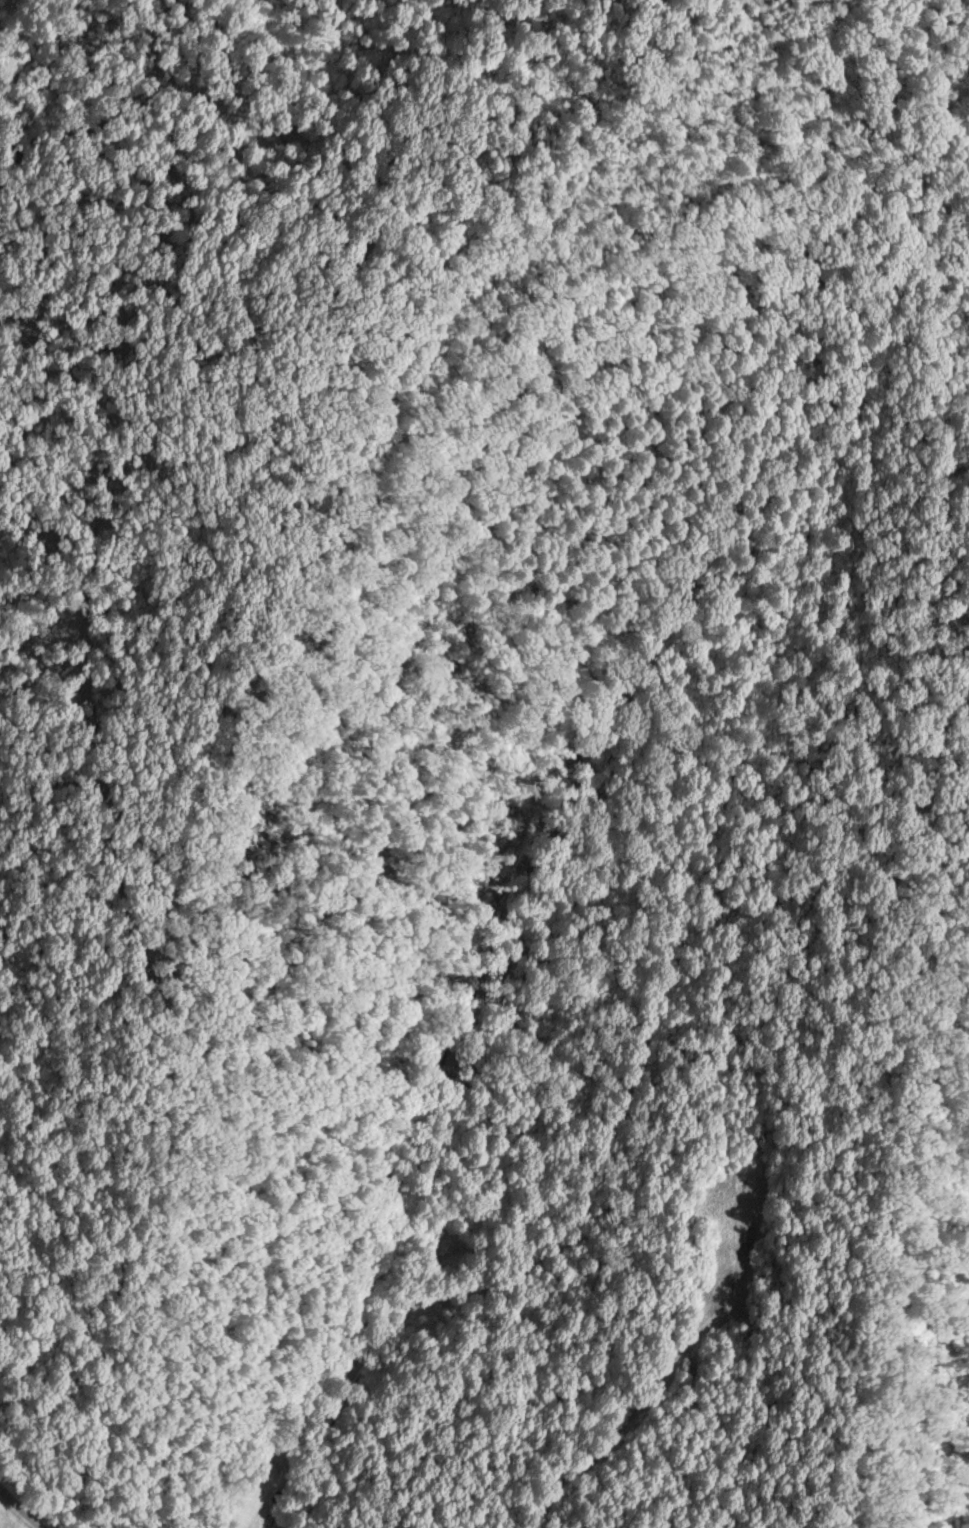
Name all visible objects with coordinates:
road: (22, 1506)

